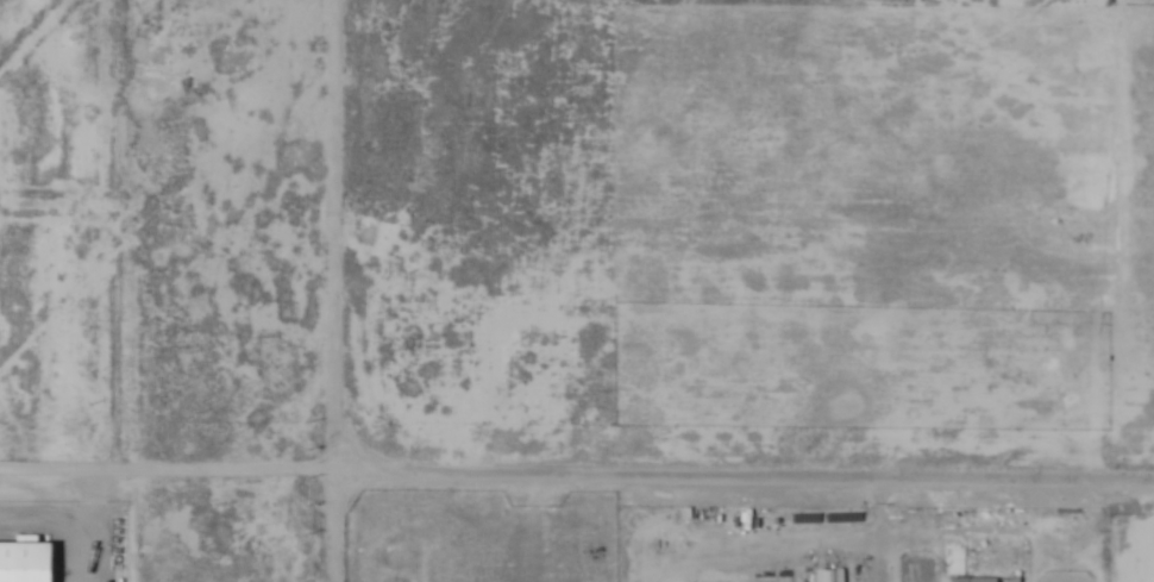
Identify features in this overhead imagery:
road: (168, 208)
road: (333, 290)
road: (576, 486)
road: (878, 519)
road: (94, 531)
road: (764, 550)
road: (878, 565)
building: (973, 580)

